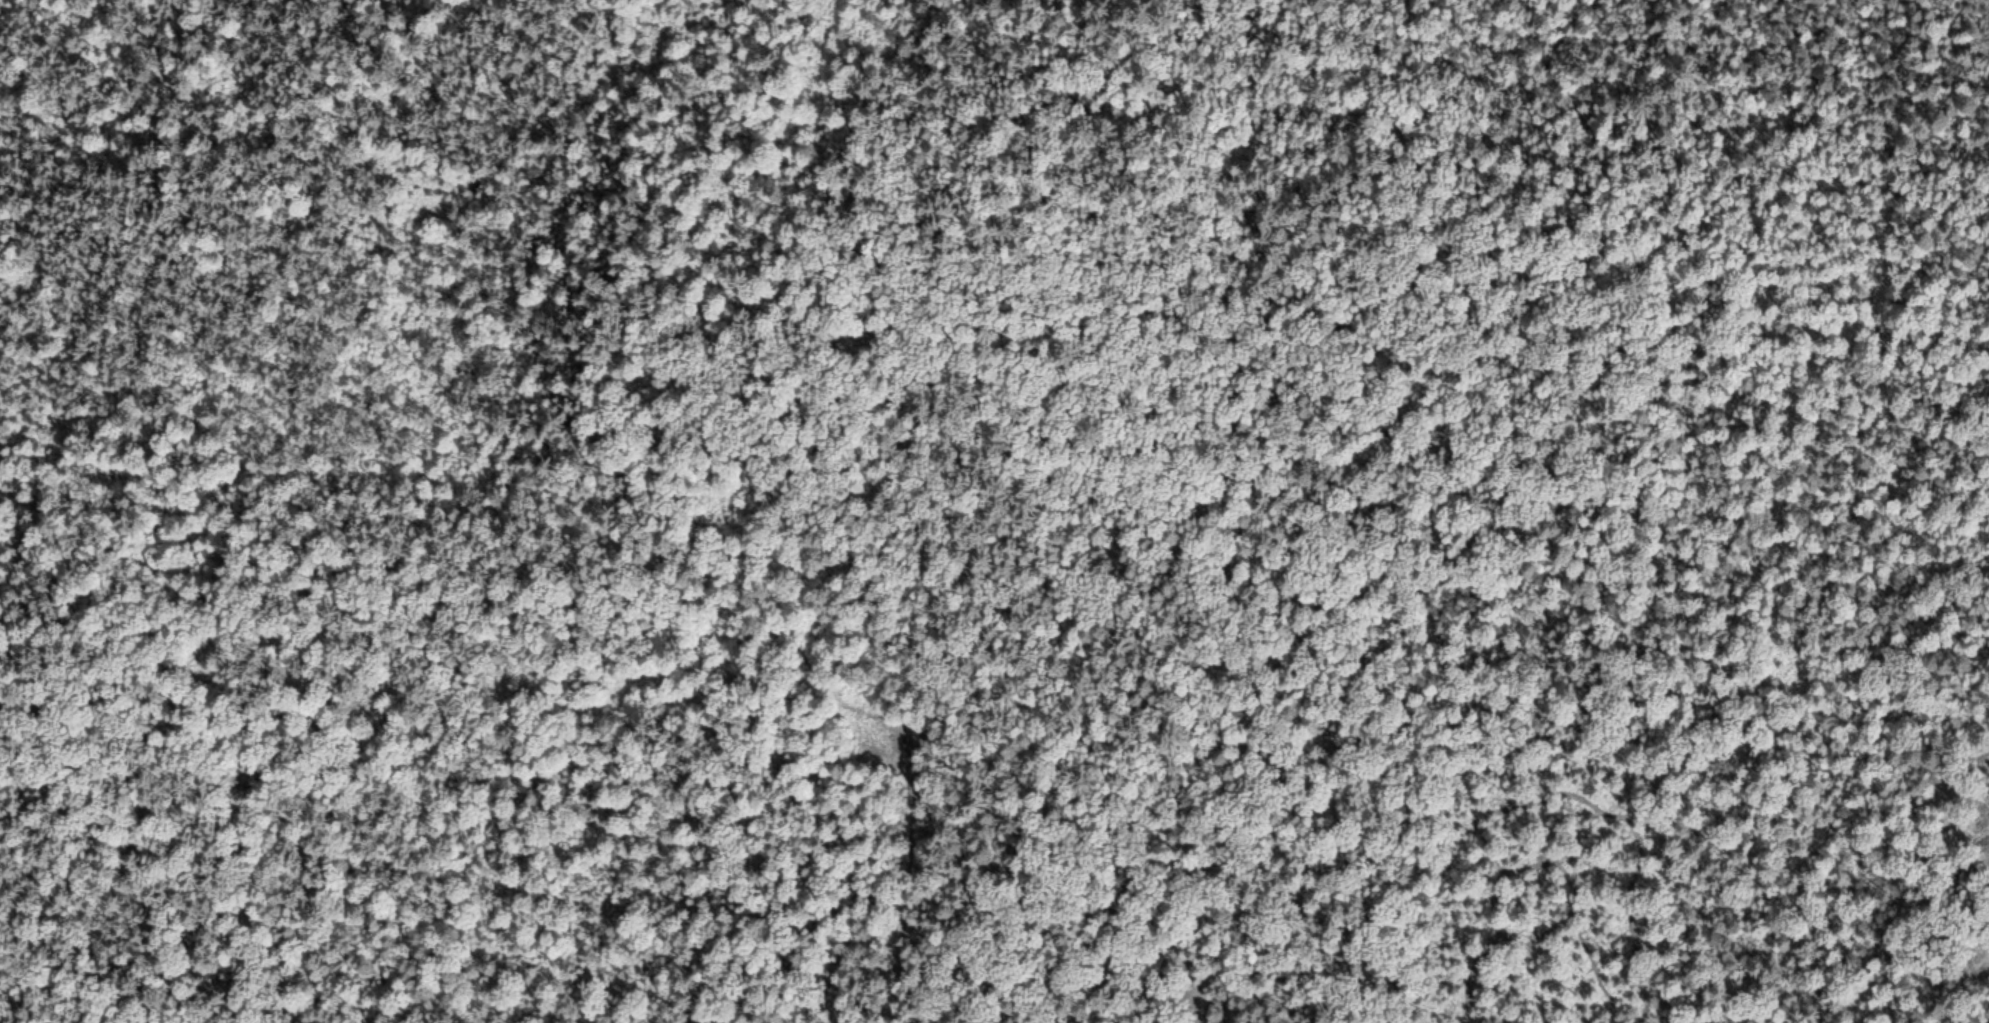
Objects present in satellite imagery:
road: (1961, 971)

